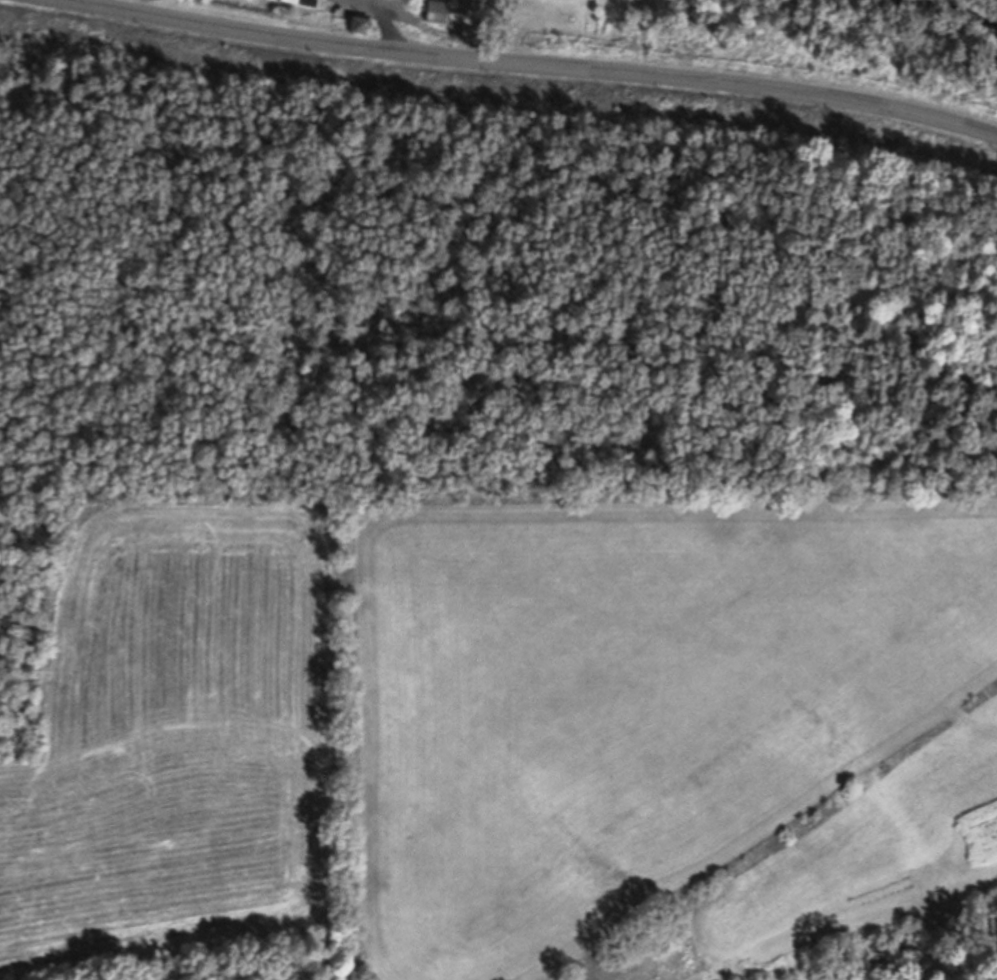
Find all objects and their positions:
road: (361, 2)
building: (302, 3)
building: (465, 6)
road: (386, 22)
building: (361, 27)
road: (533, 63)
road: (970, 726)

